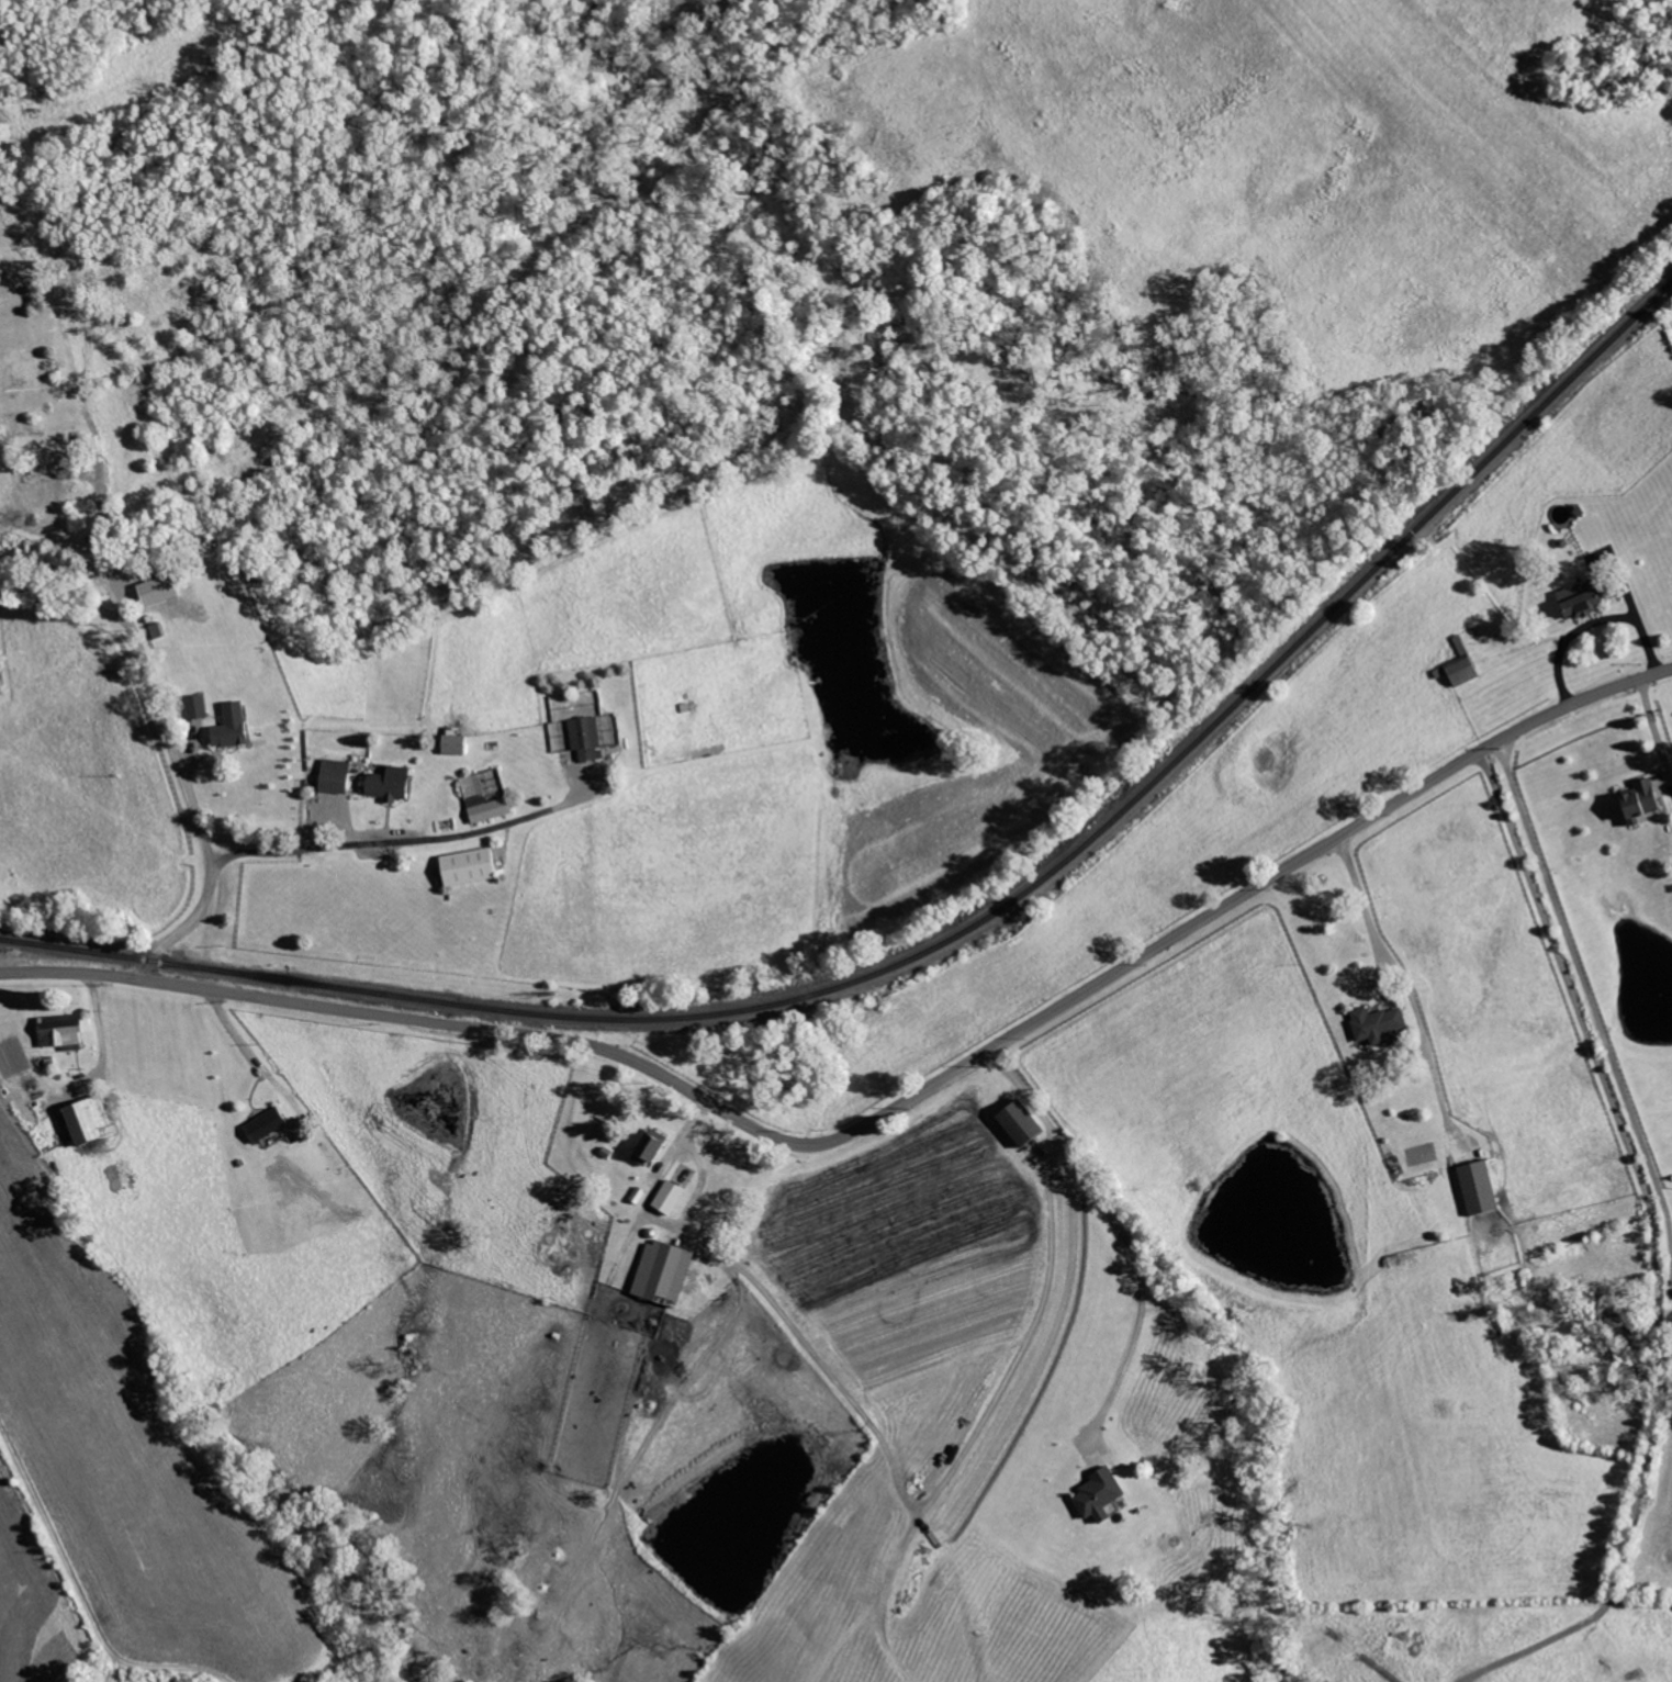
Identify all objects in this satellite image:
road: (125, 586)
road: (69, 592)
building: (1581, 598)
road: (1596, 620)
building: (1463, 671)
building: (199, 706)
building: (233, 726)
road: (1657, 731)
building: (611, 736)
building: (587, 738)
building: (455, 741)
building: (337, 775)
building: (391, 783)
building: (502, 797)
building: (1640, 800)
road: (394, 834)
building: (469, 866)
road: (1368, 909)
railway: (954, 939)
road: (1592, 1008)
building: (1378, 1023)
road: (100, 1027)
building: (63, 1031)
road: (243, 1046)
road: (1026, 1094)
building: (88, 1119)
road: (878, 1119)
building: (1021, 1122)
building: (266, 1125)
building: (649, 1146)
building: (1479, 1187)
building: (670, 1197)
building: (663, 1272)
road: (1141, 1277)
road: (775, 1308)
road: (983, 1420)
building: (1099, 1494)
road: (76, 1578)

